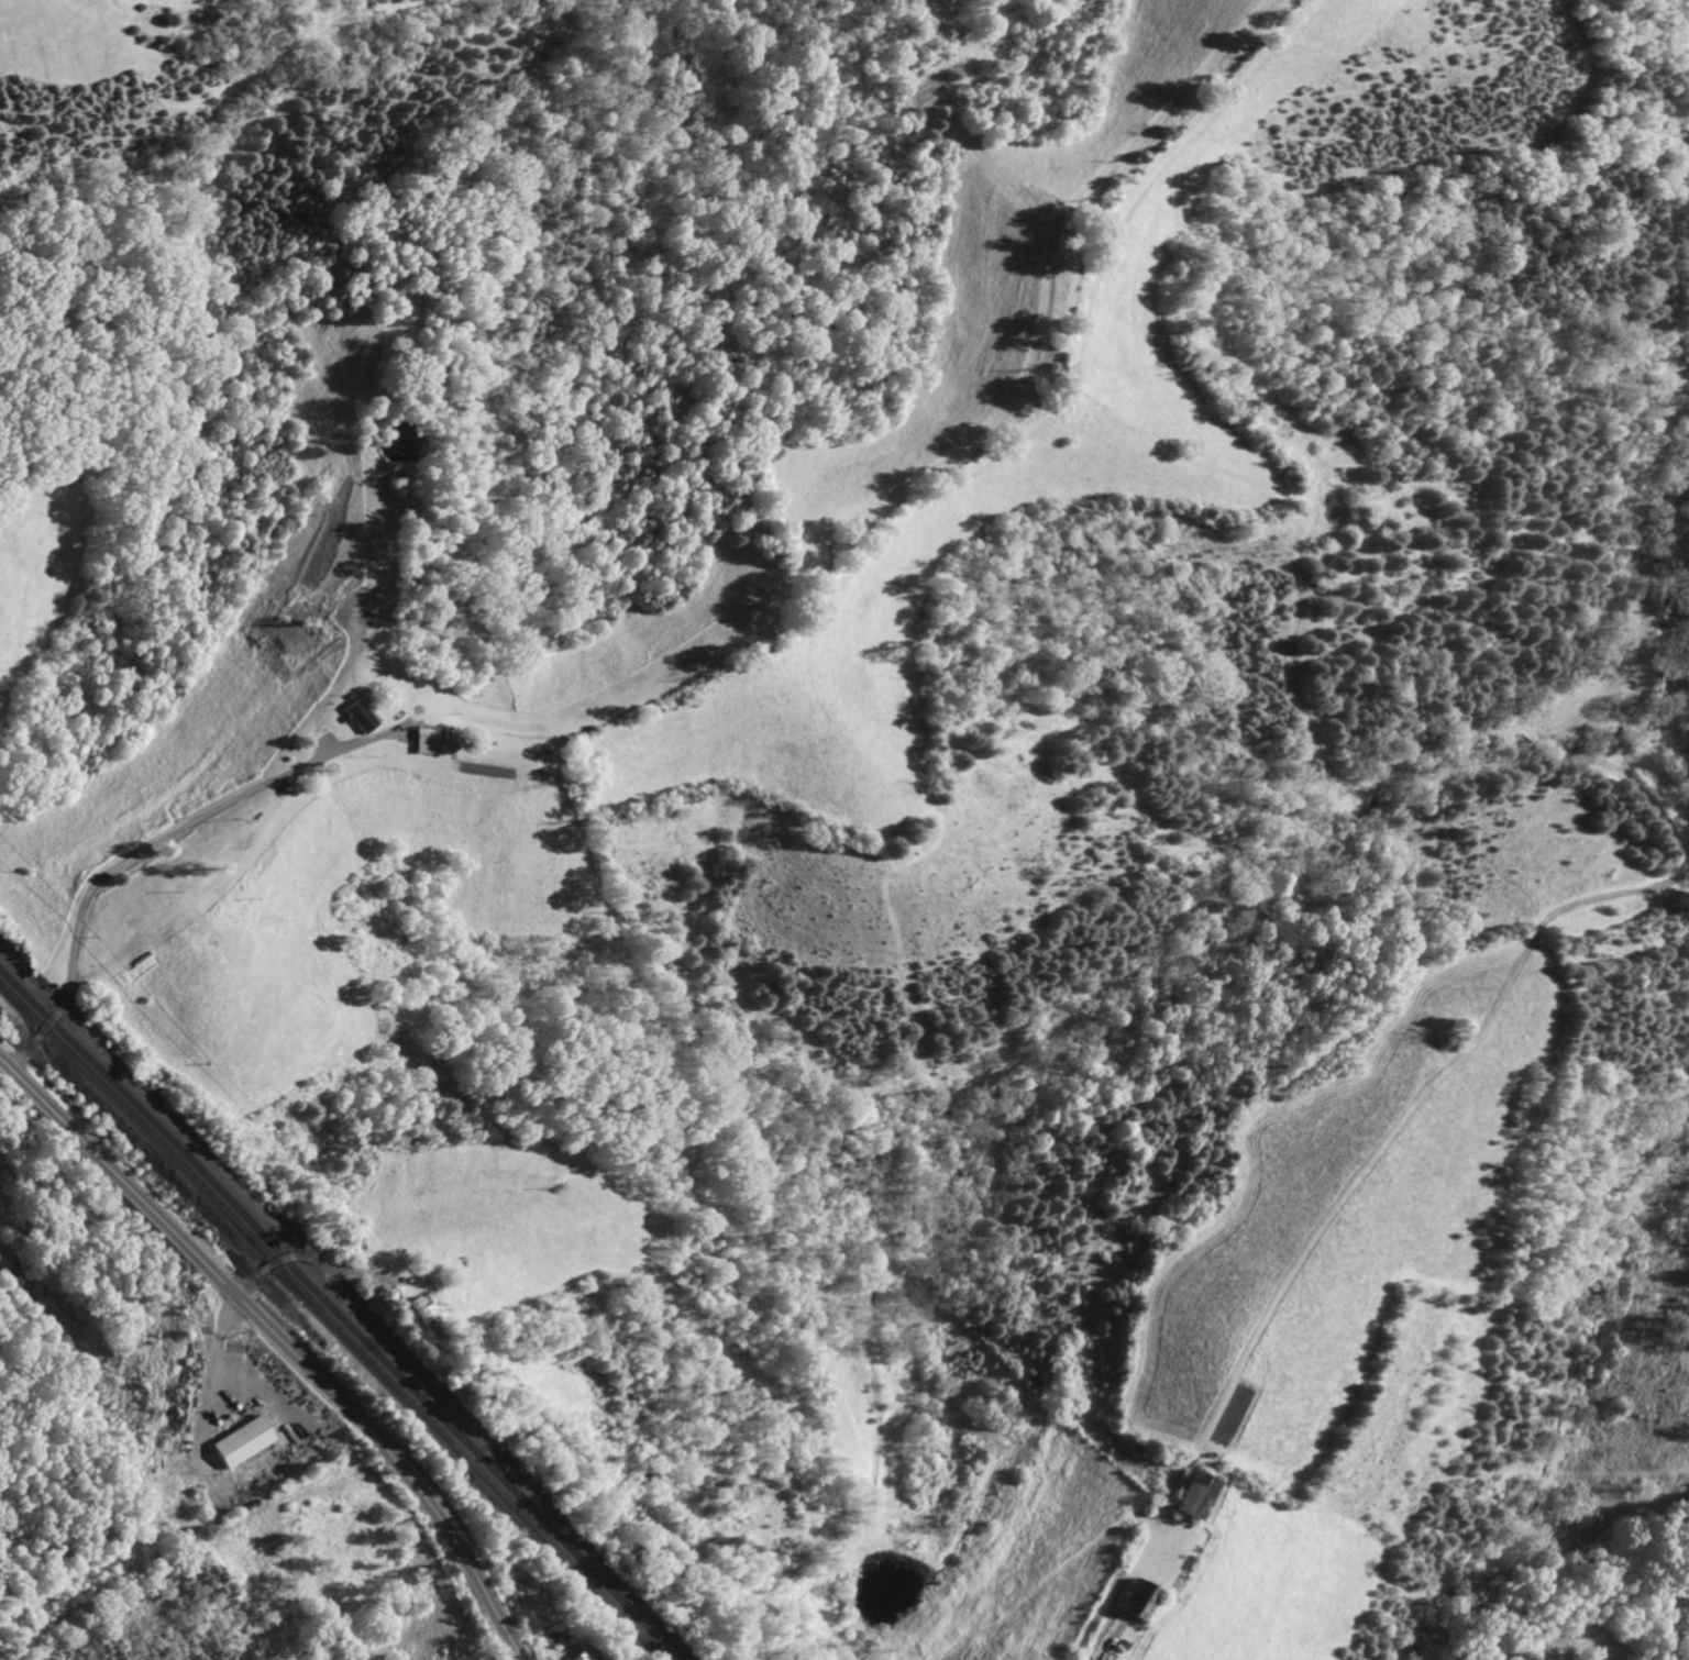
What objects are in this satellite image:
building: (356, 716)
building: (422, 739)
road: (132, 861)
road: (309, 1260)
building: (419, 1310)
railway: (342, 1314)
railway: (335, 1320)
road: (284, 1340)
building: (242, 1442)
building: (1186, 1495)
building: (1131, 1600)
building: (579, 1655)

